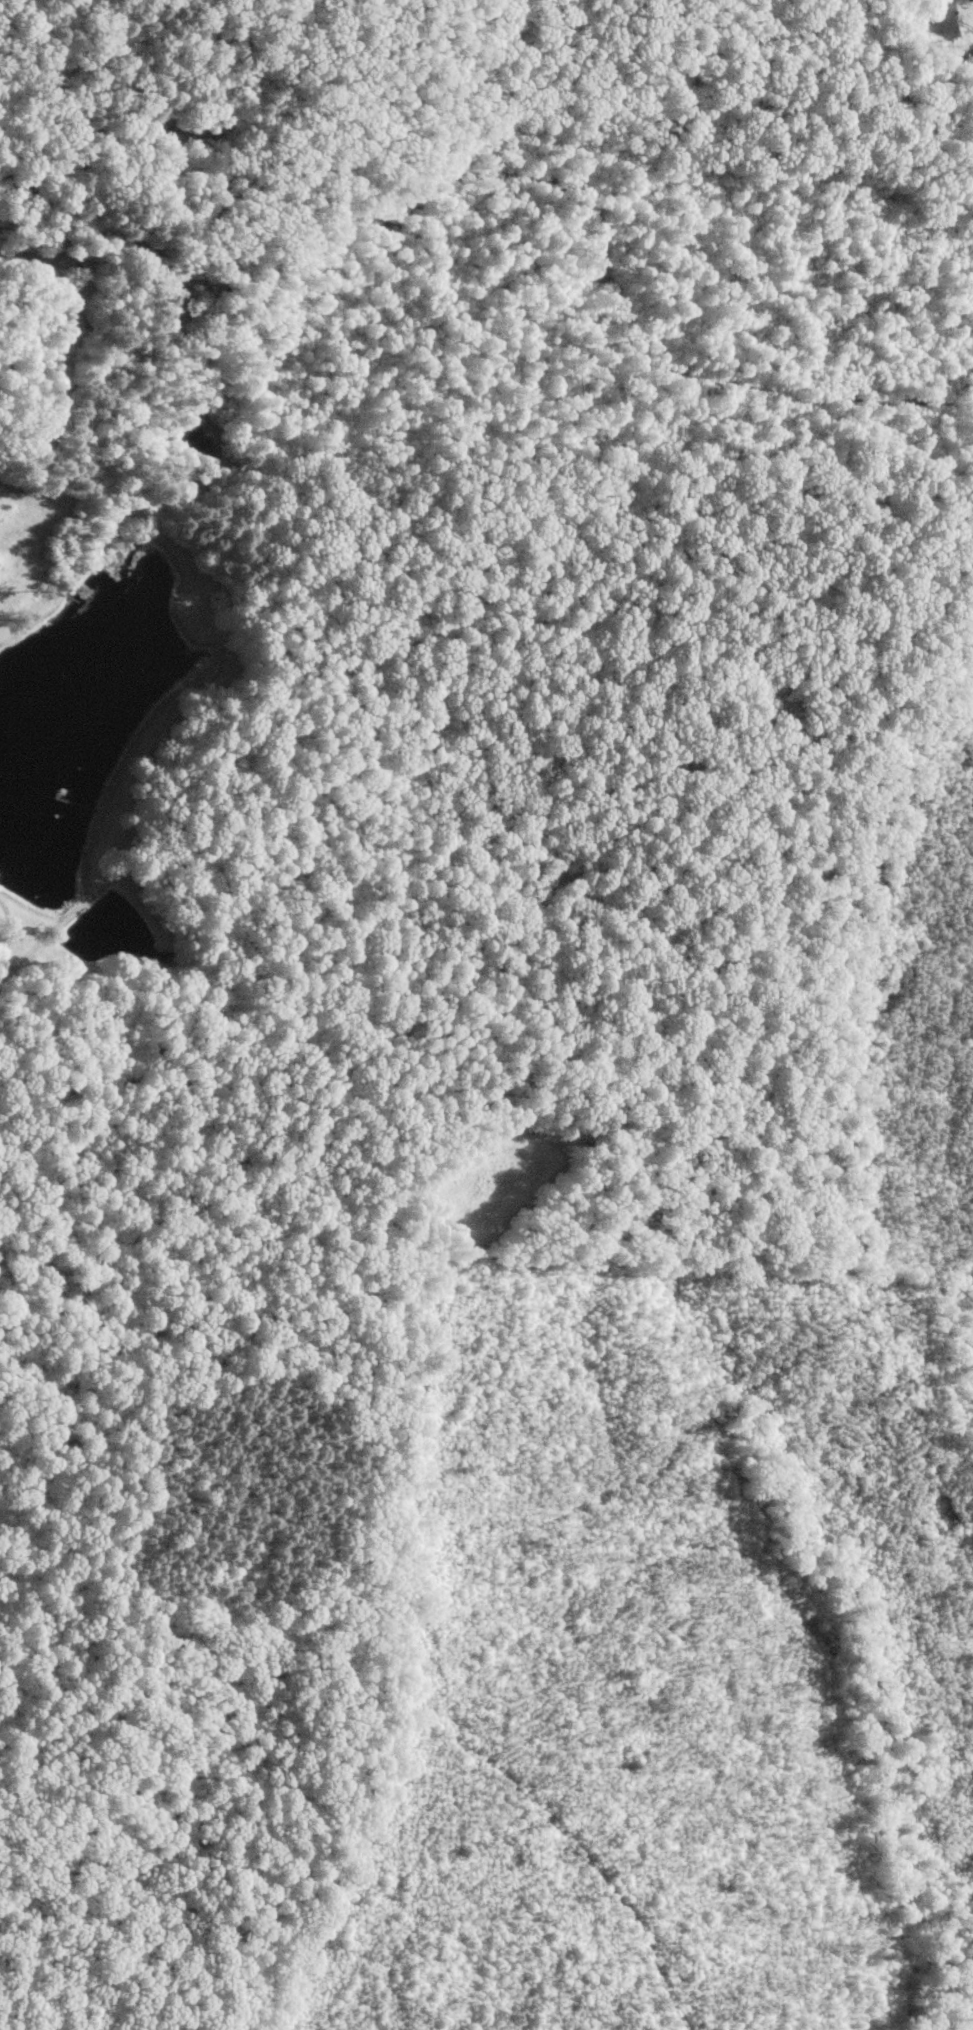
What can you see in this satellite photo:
road: (946, 10)

